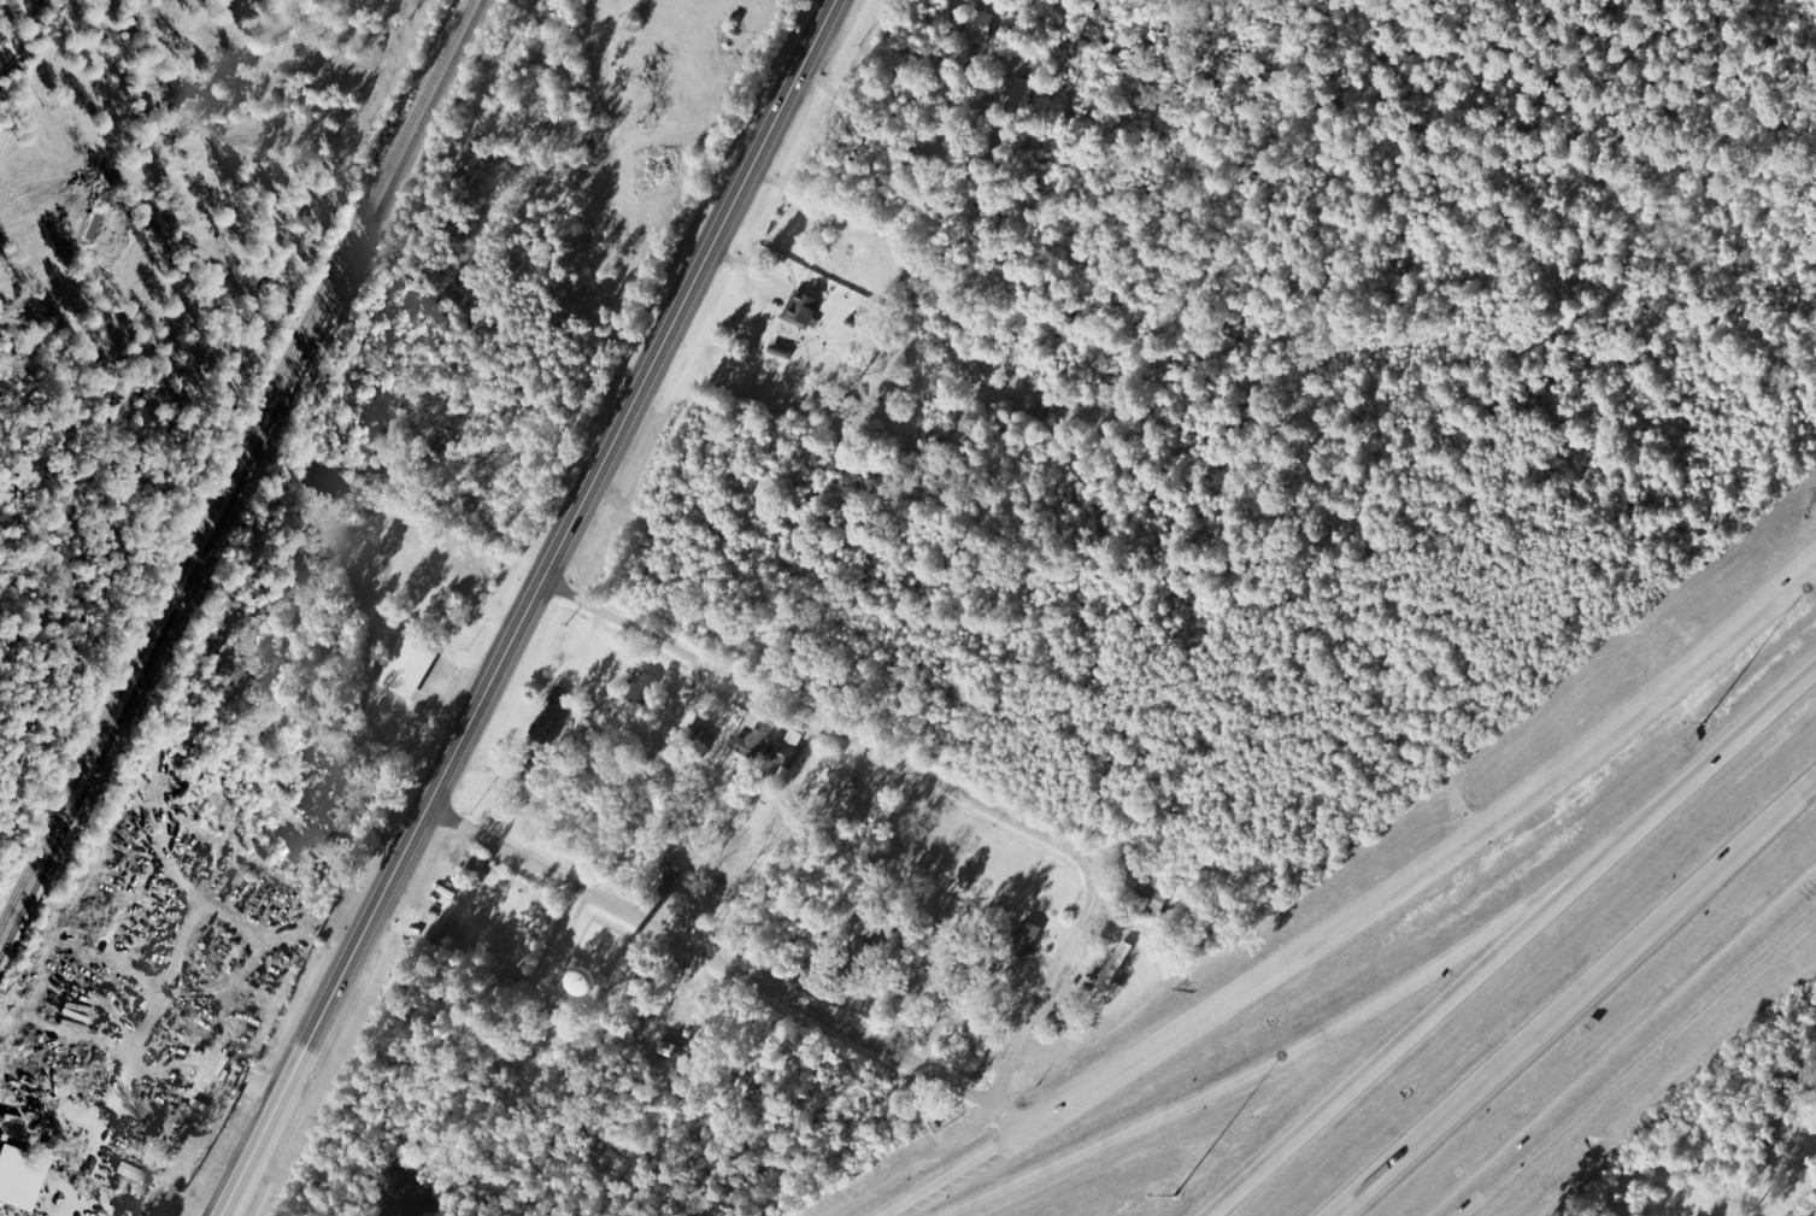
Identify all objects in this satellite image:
building: (977, 27)
building: (1018, 94)
building: (803, 309)
railway: (235, 468)
railway: (242, 480)
road: (530, 607)
building: (409, 665)
building: (646, 686)
road: (823, 723)
building: (698, 739)
building: (753, 741)
building: (784, 748)
road: (1695, 777)
building: (669, 876)
road: (1380, 926)
building: (1025, 938)
building: (1115, 965)
road: (739, 970)
building: (609, 976)
road: (1044, 992)
road: (1574, 997)
road: (1391, 1050)
road: (1634, 1050)
road: (1257, 1070)
building: (131, 1173)
building: (20, 1176)
building: (131, 1209)

